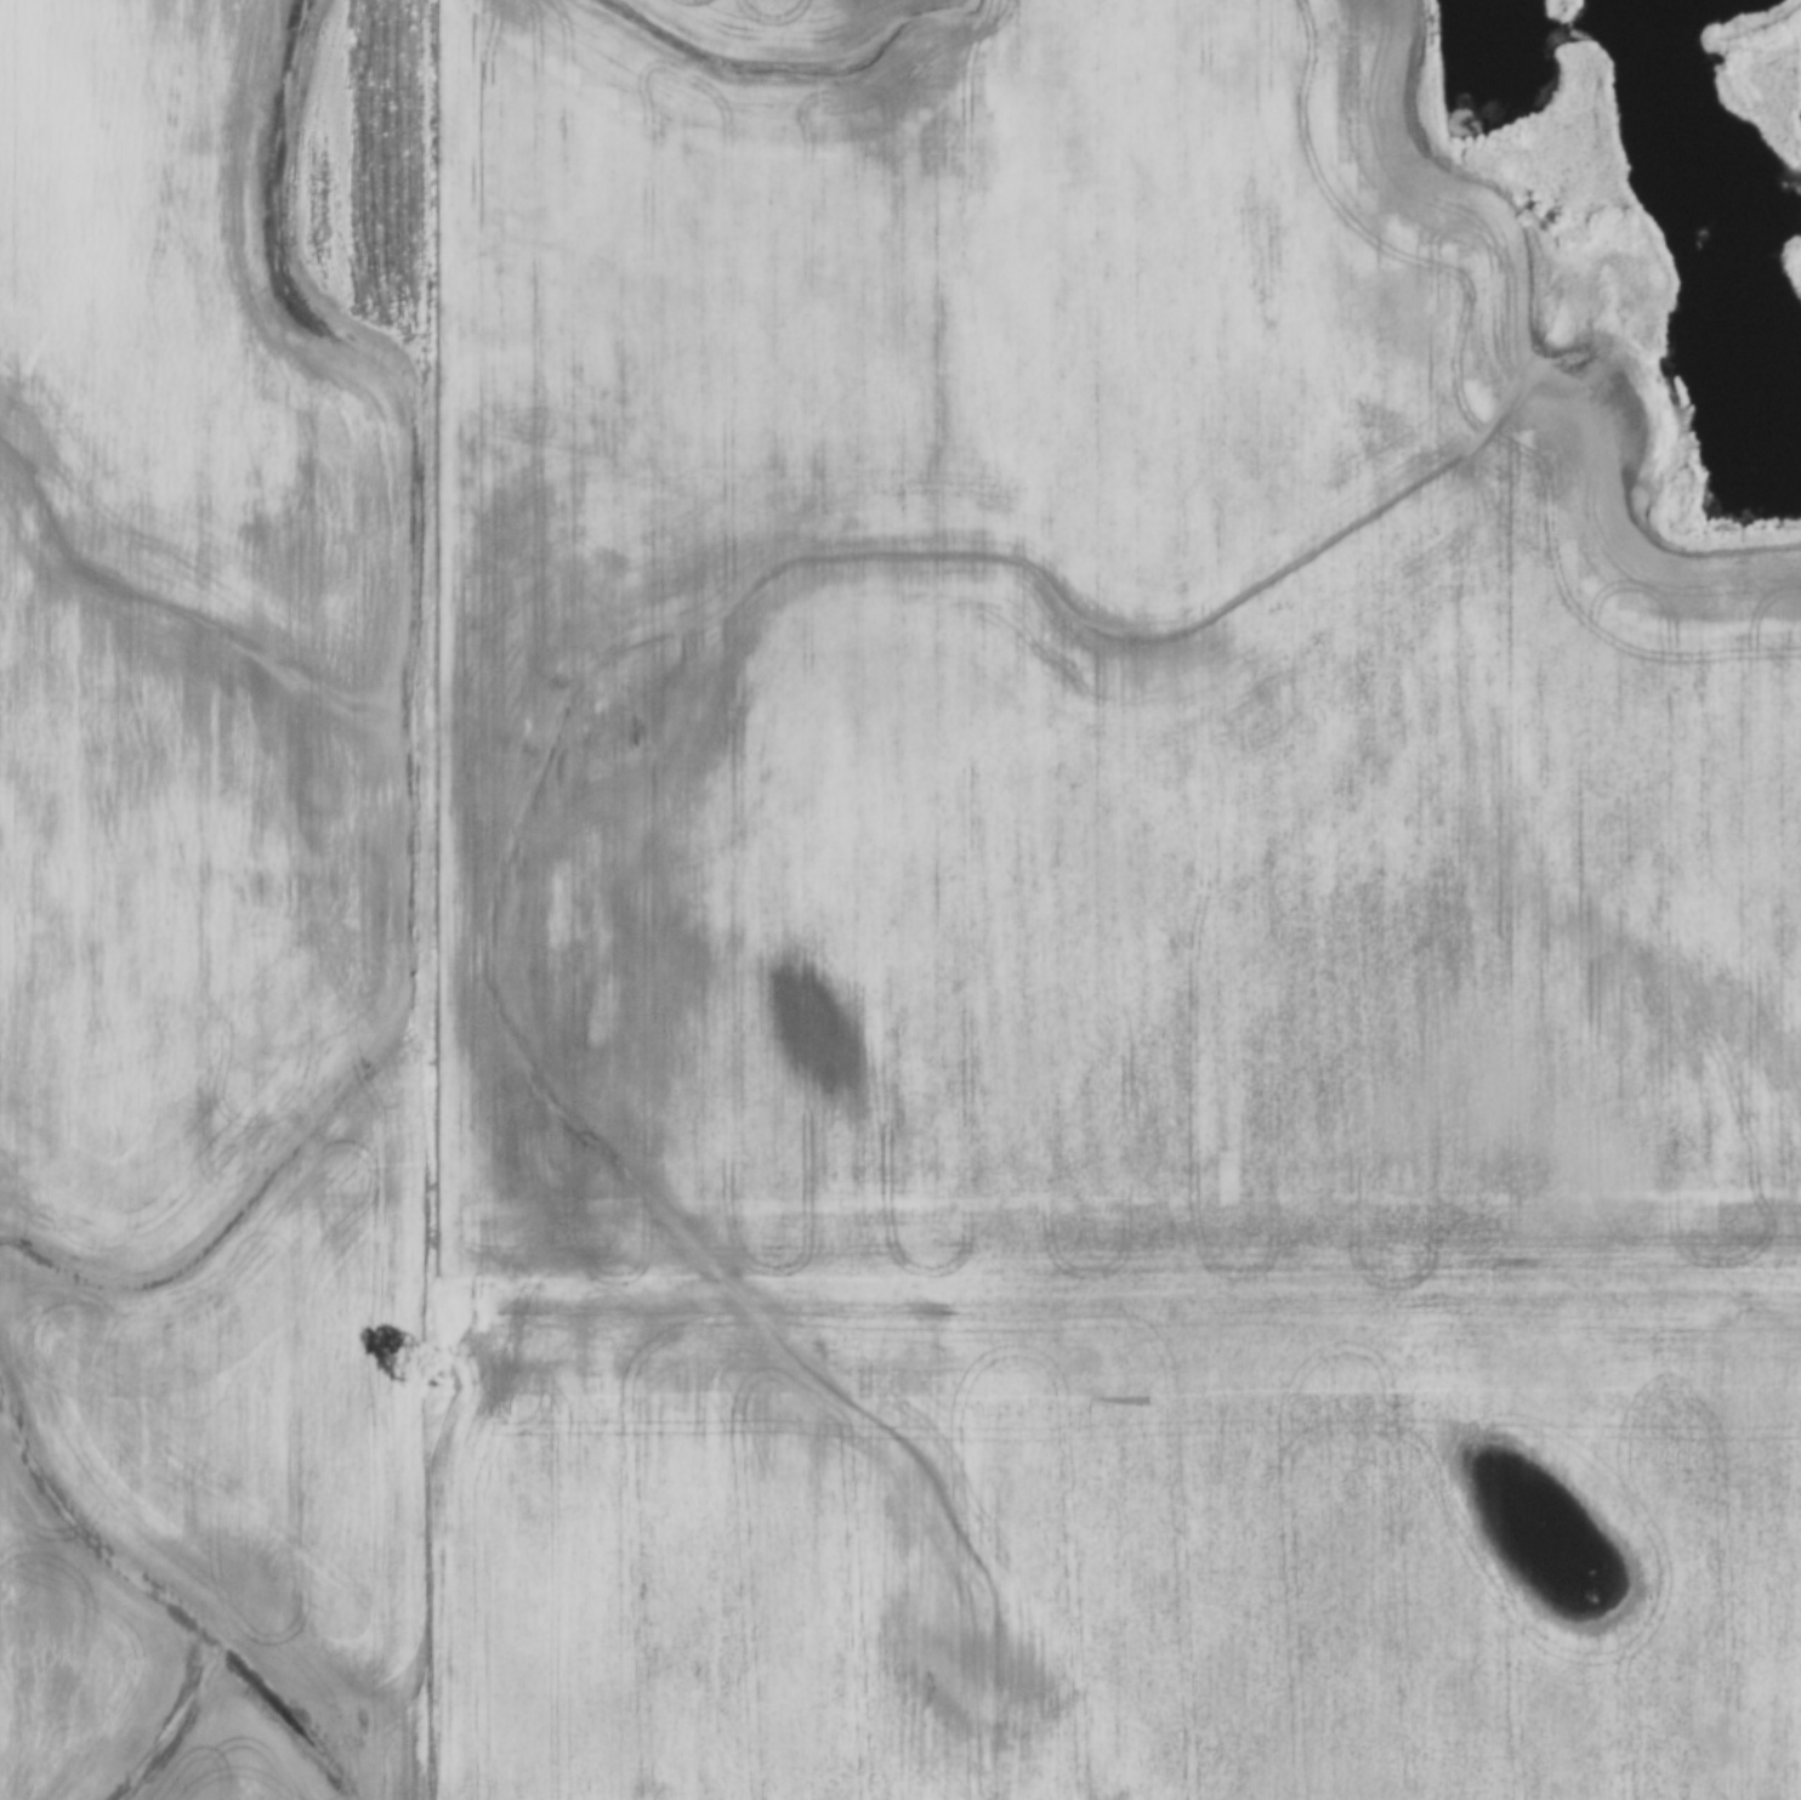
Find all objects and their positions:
building: (1529, 1249)

